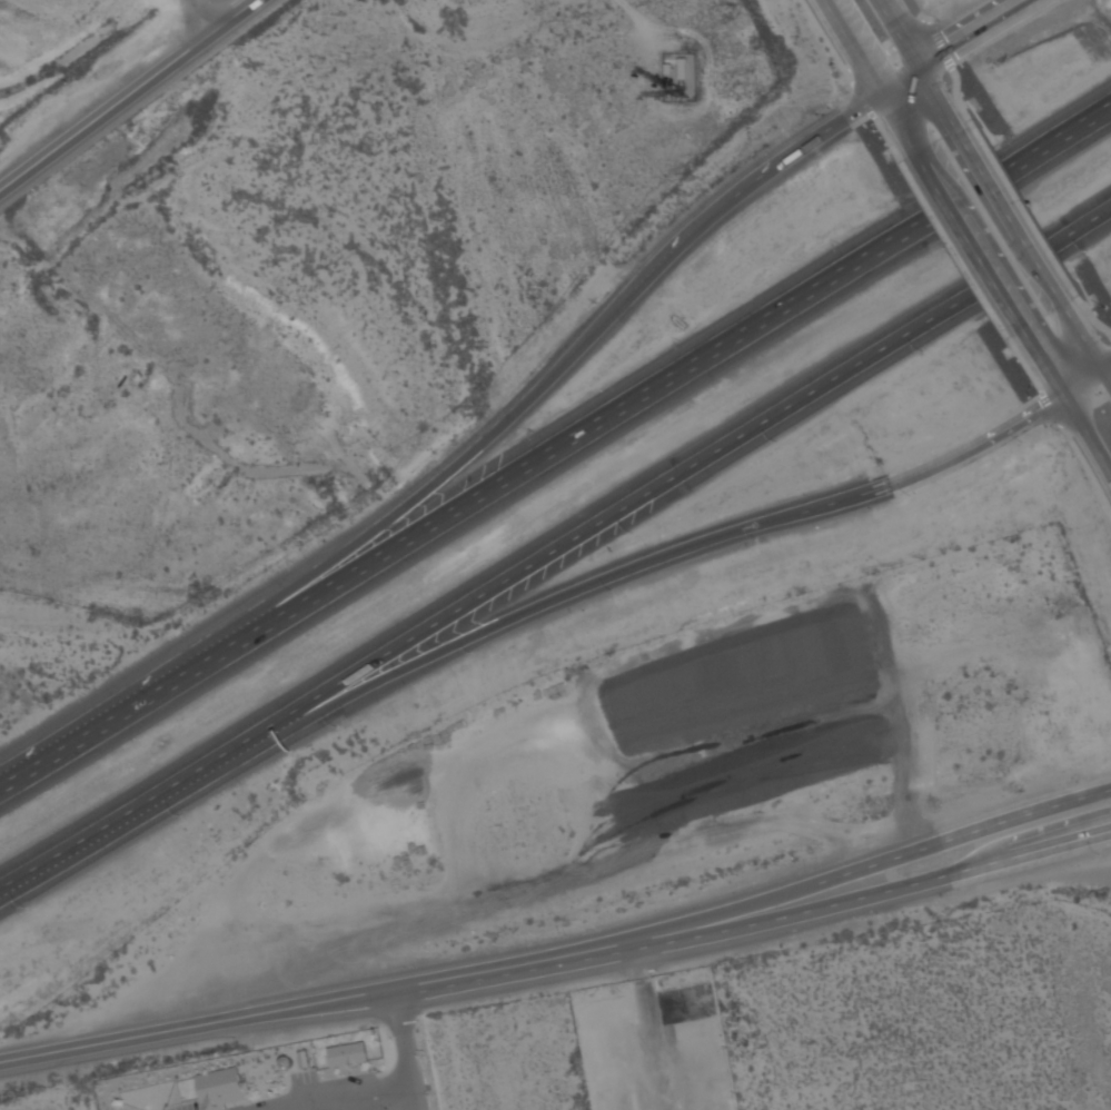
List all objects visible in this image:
road: (199, 18)
road: (984, 24)
road: (900, 33)
road: (942, 44)
road: (853, 47)
road: (932, 59)
road: (901, 81)
street lamp: (951, 85)
road: (956, 95)
road: (129, 98)
road: (938, 98)
road: (863, 101)
road: (1079, 122)
road: (836, 123)
road: (900, 123)
street lamp: (876, 129)
street lamp: (1012, 136)
road: (890, 139)
road: (990, 182)
street lamp: (710, 191)
road: (1023, 207)
road: (1095, 217)
road: (705, 225)
road: (972, 241)
street lamp: (840, 242)
road: (956, 249)
street lamp: (1088, 251)
road: (1045, 270)
street lamp: (599, 303)
street lamp: (1107, 307)
road: (1090, 316)
road: (1087, 337)
street lamp: (681, 340)
street lamp: (923, 351)
road: (1025, 364)
road: (1045, 364)
road: (1109, 367)
road: (1109, 373)
road: (1085, 383)
street lamp: (1029, 387)
road: (625, 403)
road: (1051, 408)
street lamp: (492, 415)
street lamp: (534, 429)
street lamp: (1059, 430)
road: (1088, 433)
street lamp: (777, 442)
street lamp: (1023, 442)
road: (981, 444)
road: (1088, 468)
road: (652, 492)
street lamp: (397, 493)
road: (423, 494)
street lamp: (911, 496)
road: (844, 501)
street lamp: (635, 534)
street lamp: (757, 539)
street lamp: (296, 563)
street lamp: (613, 589)
road: (503, 623)
street lamp: (191, 626)
street lamp: (473, 655)
street lamp: (88, 694)
road: (100, 724)
street lamp: (337, 729)
street lamp: (1023, 796)
street lamp: (182, 815)
road: (1024, 815)
road: (112, 823)
street lamp: (1103, 855)
street lamp: (29, 906)
road: (771, 920)
road: (685, 921)
road: (212, 1021)
building: (693, 1027)
road: (409, 1049)
building: (347, 1053)
building: (302, 1060)
building: (284, 1061)
storage tank: (284, 1061)
building: (221, 1088)
road: (381, 1097)
road: (323, 1106)
road: (346, 1106)

